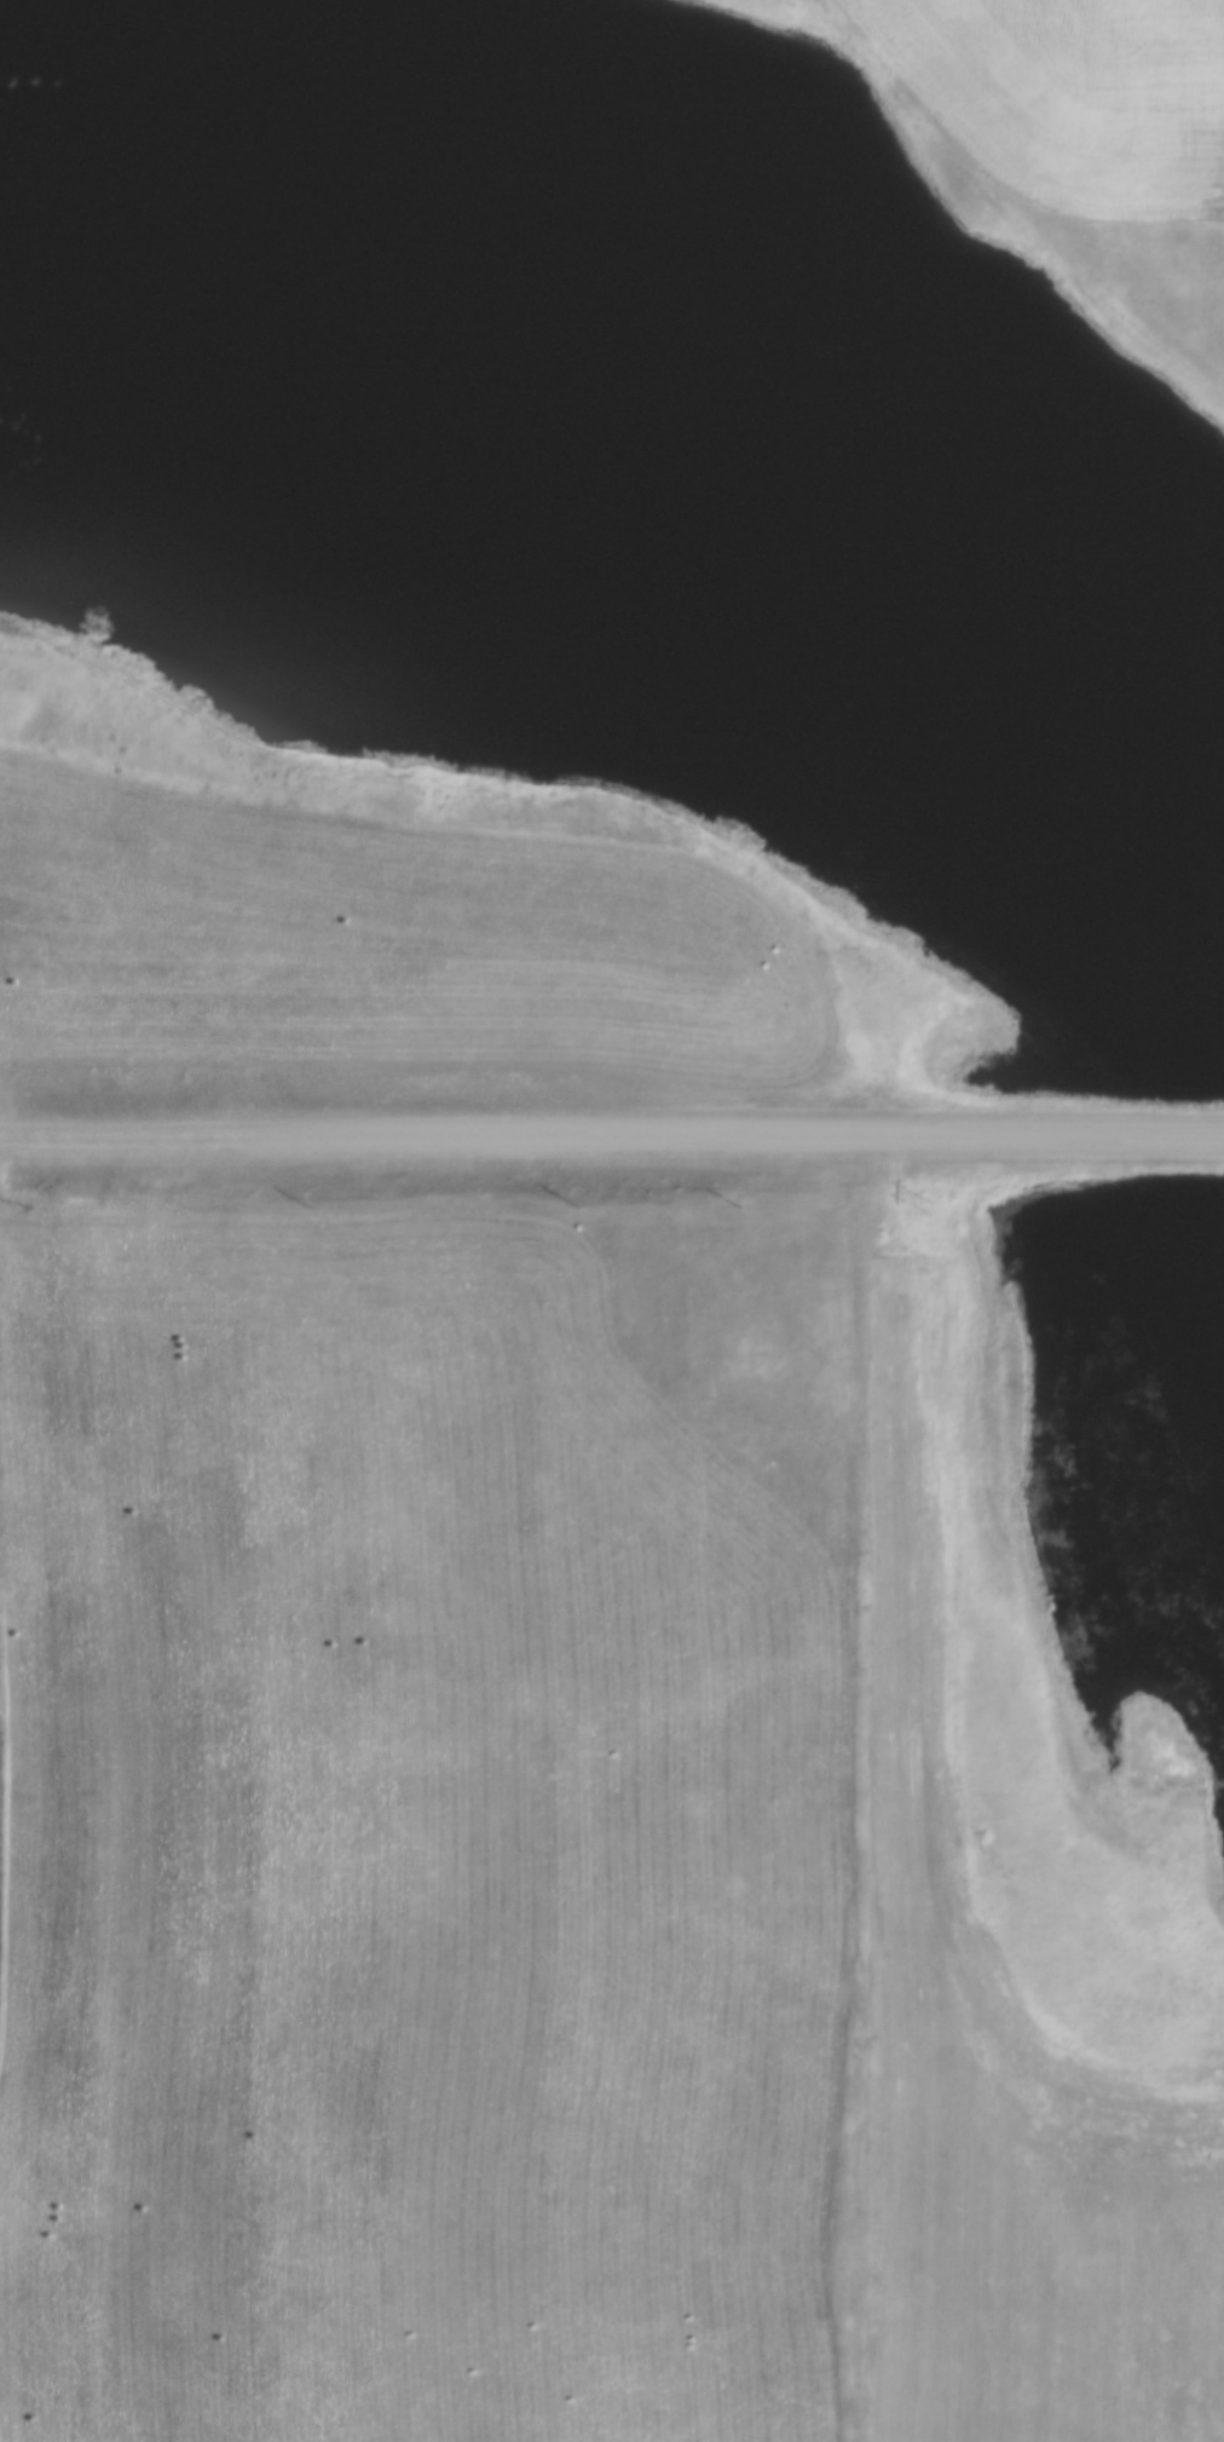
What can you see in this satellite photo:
road: (612, 1133)

